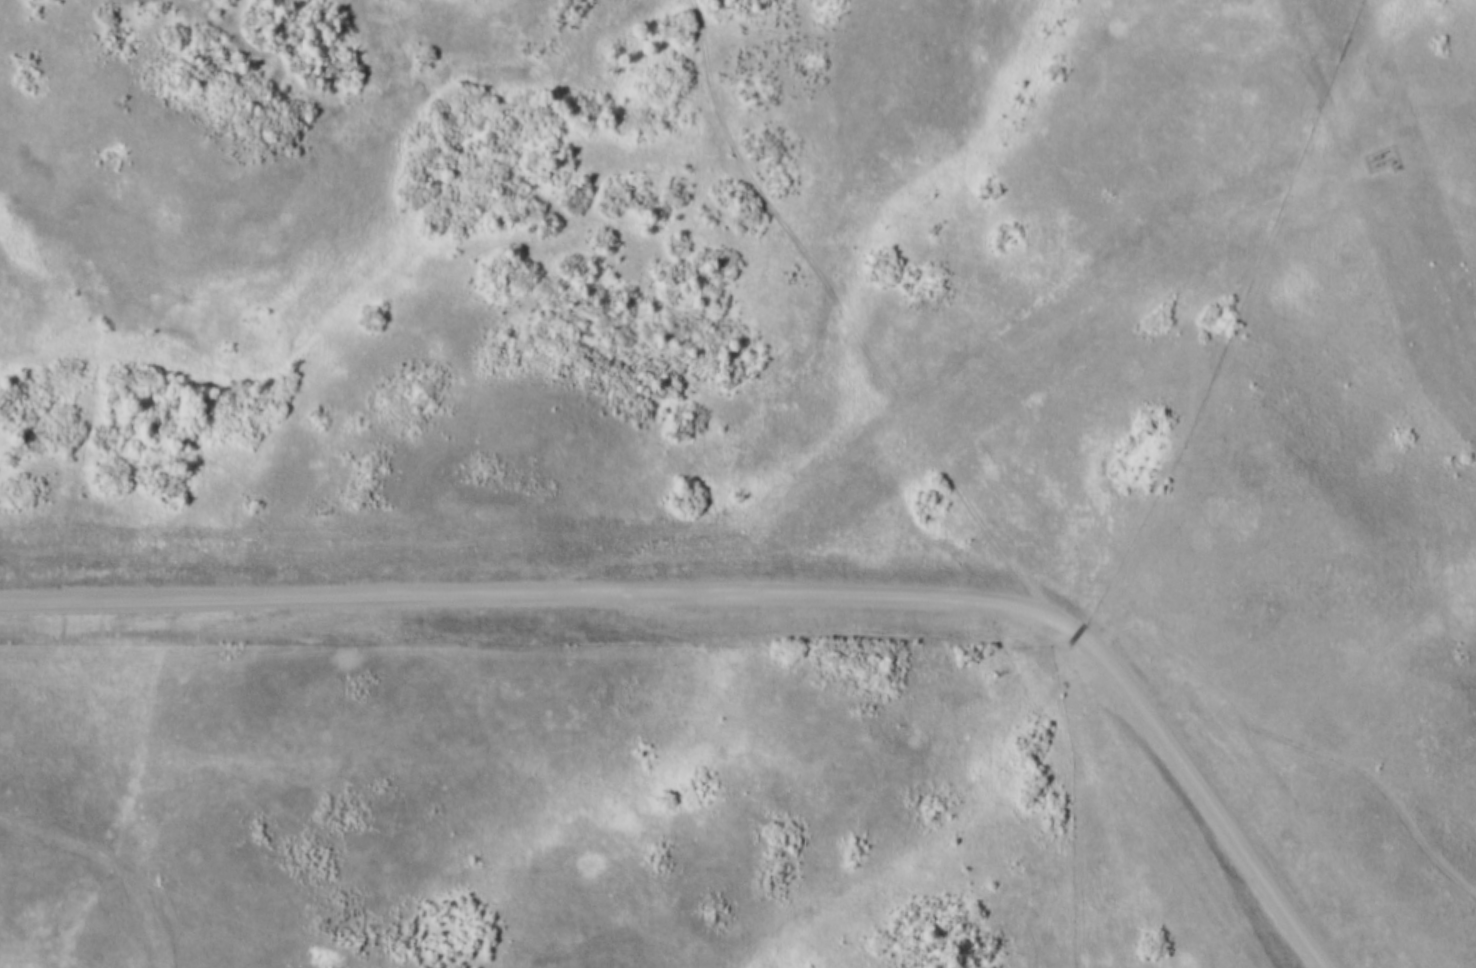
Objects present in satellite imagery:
road: (742, 630)
road: (1305, 747)
road: (110, 866)

